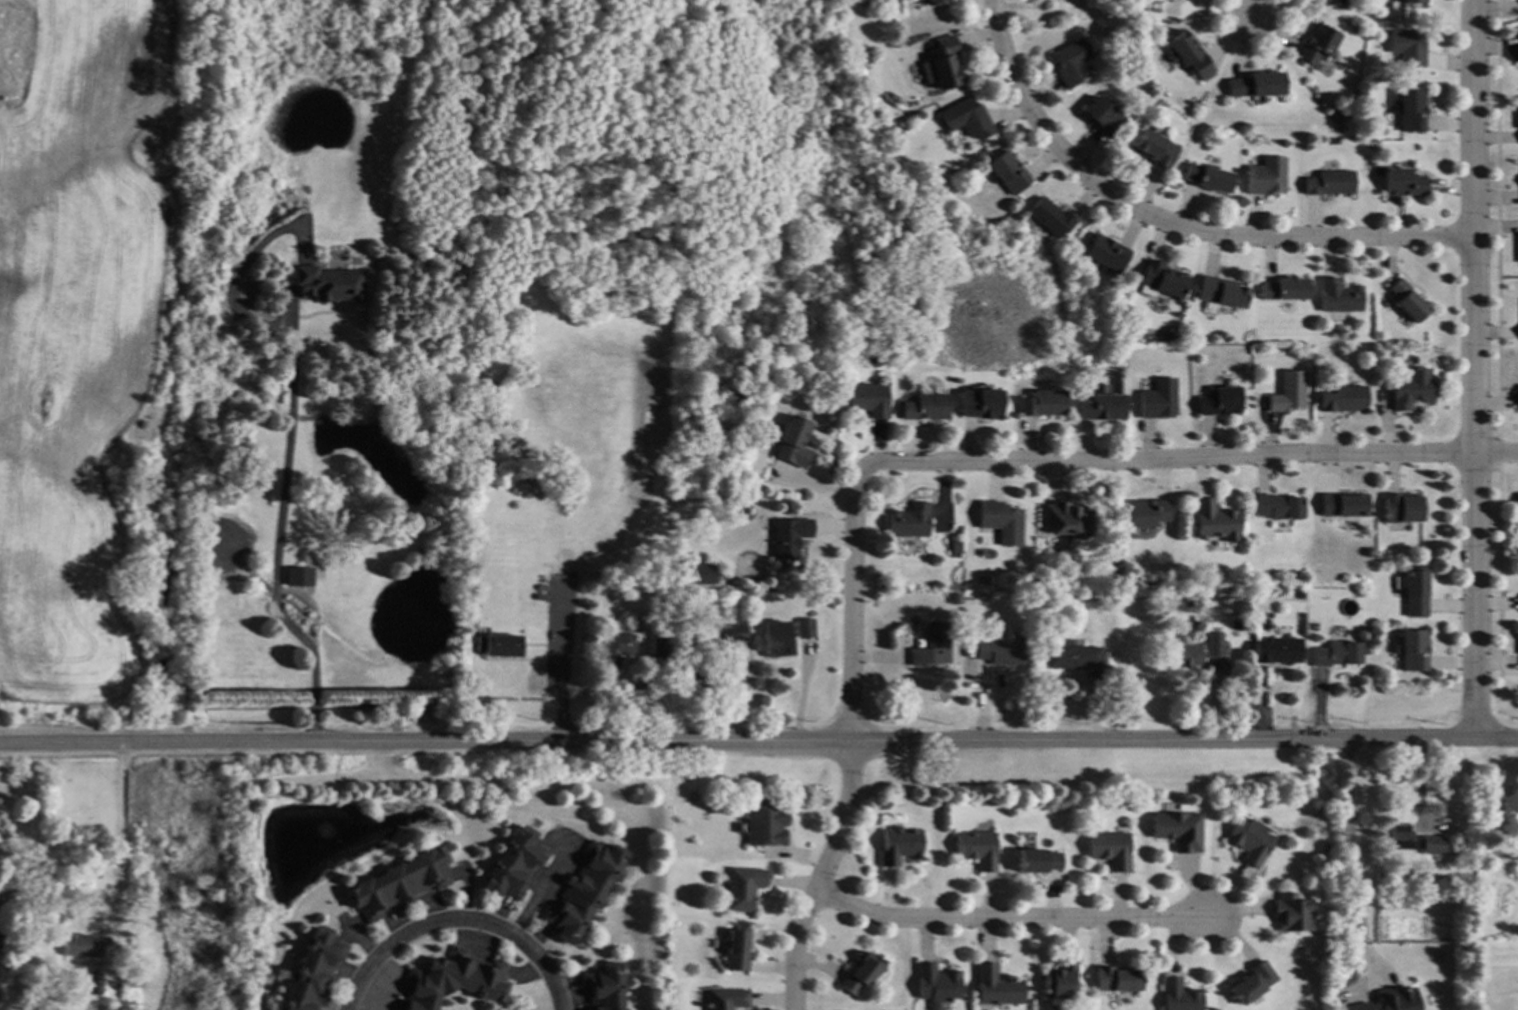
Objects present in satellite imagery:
building: (1411, 1)
building: (933, 2)
building: (1330, 2)
road: (1252, 13)
building: (1316, 44)
building: (1407, 47)
building: (1187, 55)
building: (943, 62)
building: (1070, 62)
building: (1255, 85)
building: (1410, 110)
building: (1102, 116)
building: (966, 118)
building: (1154, 149)
building: (1007, 172)
building: (1207, 177)
building: (1265, 177)
building: (1328, 182)
building: (1403, 183)
building: (1048, 217)
road: (1174, 222)
building: (1105, 253)
building: (1161, 279)
building: (327, 284)
building: (1283, 289)
building: (1219, 292)
building: (1338, 296)
building: (1406, 300)
building: (1169, 333)
crop: (74, 342)
road: (1476, 370)
building: (1411, 388)
building: (1287, 392)
building: (1157, 399)
building: (1344, 399)
building: (866, 400)
building: (1219, 401)
building: (979, 403)
building: (1042, 404)
building: (924, 407)
building: (1101, 408)
building: (792, 442)
road: (1496, 451)
road: (1170, 457)
building: (253, 484)
building: (1344, 505)
building: (1278, 506)
building: (1517, 507)
building: (1401, 508)
building: (1147, 513)
building: (1068, 519)
building: (908, 521)
building: (1000, 521)
building: (1215, 521)
building: (787, 537)
building: (681, 539)
road: (278, 546)
building: (956, 547)
building: (640, 552)
building: (304, 573)
building: (701, 575)
building: (1197, 591)
building: (802, 592)
building: (1415, 592)
building: (954, 598)
road: (852, 601)
building: (804, 629)
building: (726, 634)
building: (775, 641)
building: (659, 642)
building: (497, 645)
building: (1214, 645)
building: (932, 646)
building: (616, 648)
building: (1277, 650)
building: (1412, 650)
building: (1001, 652)
building: (1337, 654)
building: (1183, 655)
building: (1072, 657)
road: (559, 682)
road: (759, 744)
building: (765, 825)
building: (1178, 830)
road: (122, 832)
building: (1250, 840)
building: (1415, 841)
building: (899, 845)
building: (976, 848)
building: (1109, 849)
road: (1348, 857)
building: (1036, 860)
building: (516, 864)
road: (822, 877)
building: (398, 883)
building: (3, 888)
building: (743, 888)
road: (541, 891)
building: (586, 891)
building: (1292, 913)
road: (1014, 917)
road: (458, 921)
building: (0, 930)
building: (80, 946)
building: (736, 950)
building: (9, 955)
building: (314, 971)
building: (861, 974)
building: (454, 979)
building: (1059, 980)
building: (1116, 980)
building: (1252, 982)
building: (93, 983)
building: (936, 985)
building: (605, 986)
building: (995, 986)
building: (1178, 996)
building: (726, 999)
building: (1395, 999)
building: (1356, 1007)
building: (397, 1009)

